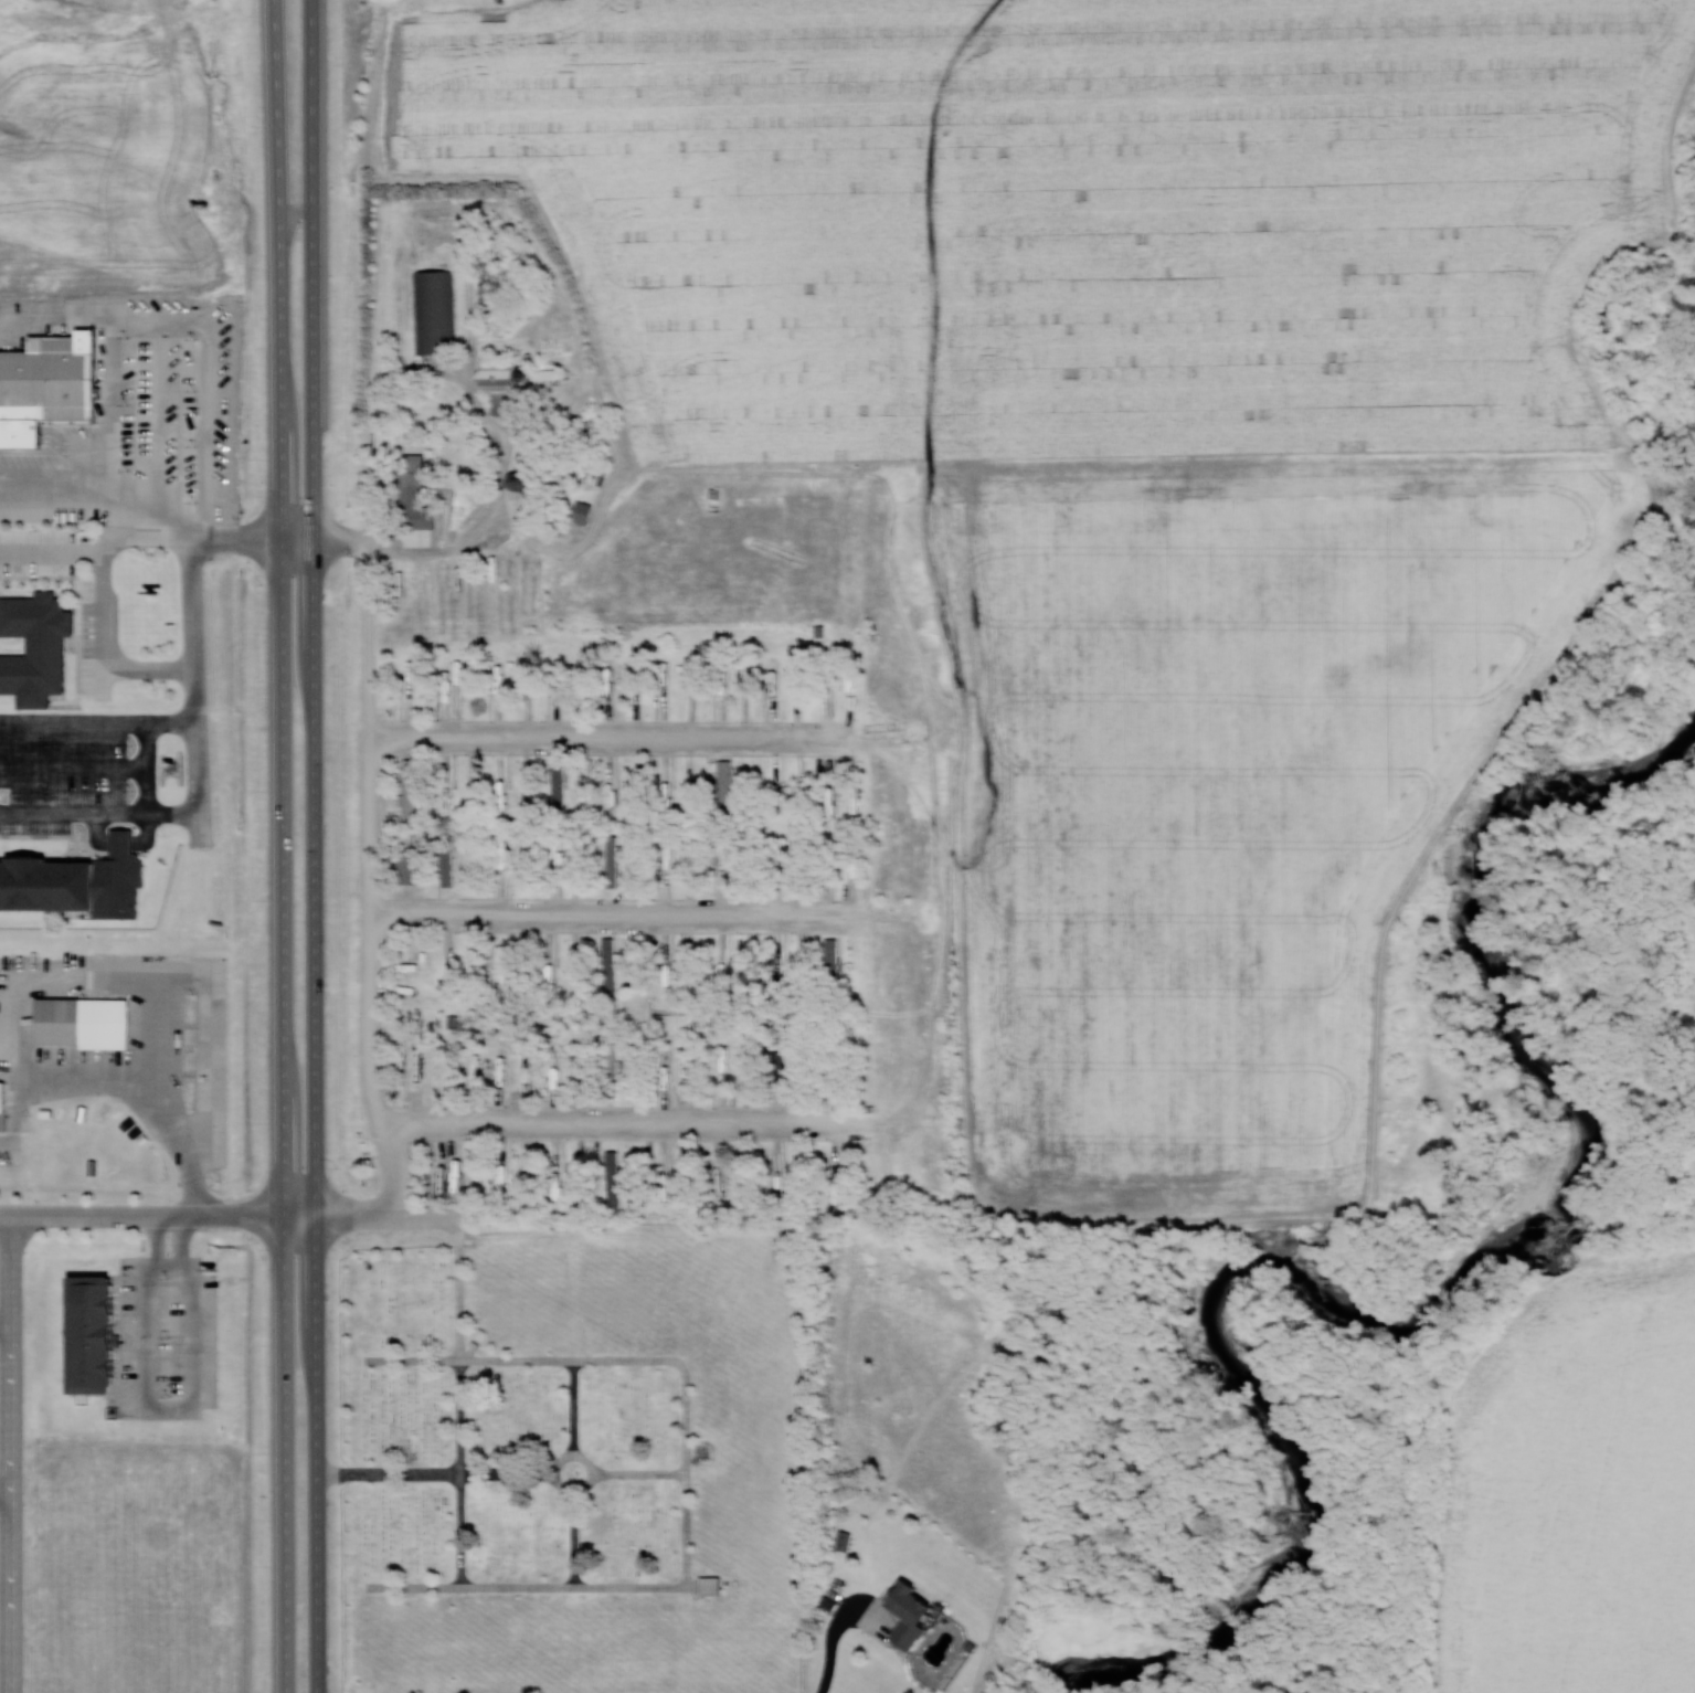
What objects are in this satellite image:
road: (315, 168)
road: (269, 239)
building: (438, 311)
building: (549, 374)
building: (53, 378)
building: (507, 388)
road: (315, 441)
building: (527, 482)
building: (419, 493)
road: (277, 509)
road: (403, 544)
building: (767, 602)
building: (43, 631)
road: (199, 632)
building: (611, 679)
building: (667, 684)
road: (611, 740)
building: (728, 784)
building: (559, 785)
building: (411, 789)
building: (504, 789)
building: (613, 808)
road: (375, 845)
building: (509, 861)
building: (410, 865)
building: (449, 867)
building: (80, 880)
road: (608, 921)
building: (834, 957)
building: (723, 960)
building: (611, 963)
building: (504, 965)
building: (85, 1019)
building: (613, 1057)
building: (786, 1068)
building: (2, 1094)
road: (286, 1117)
road: (317, 1118)
road: (628, 1128)
building: (838, 1161)
road: (398, 1170)
building: (453, 1171)
building: (781, 1172)
building: (720, 1175)
building: (614, 1177)
road: (388, 1215)
road: (158, 1216)
building: (100, 1332)
road: (466, 1405)
road: (578, 1410)
road: (11, 1454)
park: (571, 1465)
road: (644, 1478)
road: (436, 1479)
road: (557, 1479)
road: (689, 1480)
crop: (1572, 1483)
building: (846, 1539)
road: (575, 1546)
building: (713, 1585)
building: (915, 1613)
road: (835, 1625)

